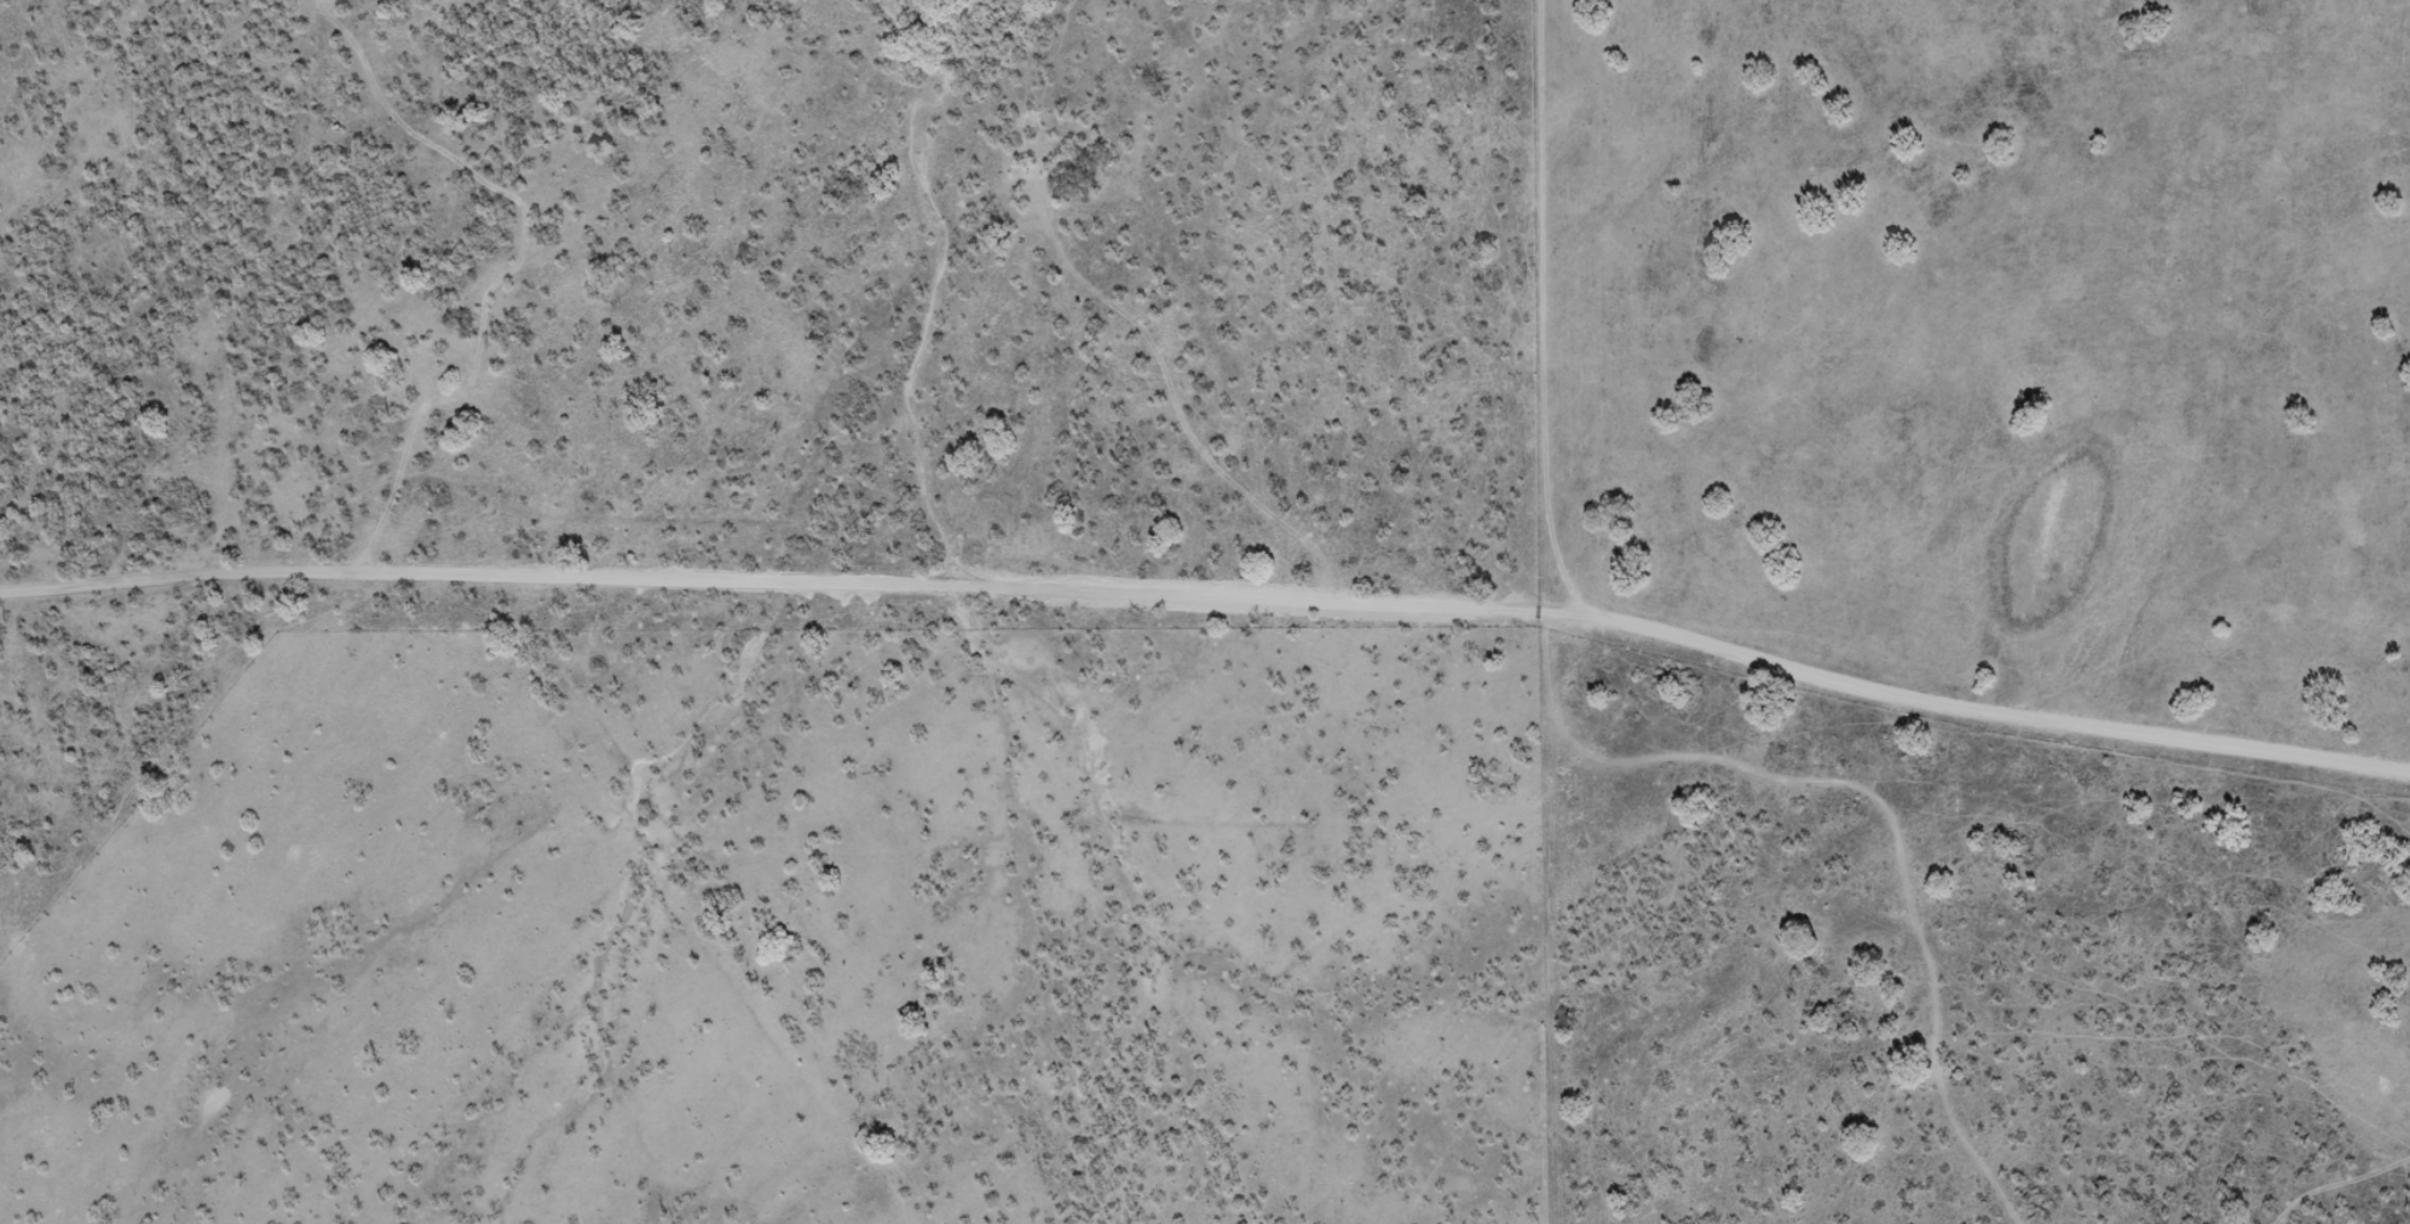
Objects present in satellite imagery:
road: (1211, 606)
road: (1516, 1026)

